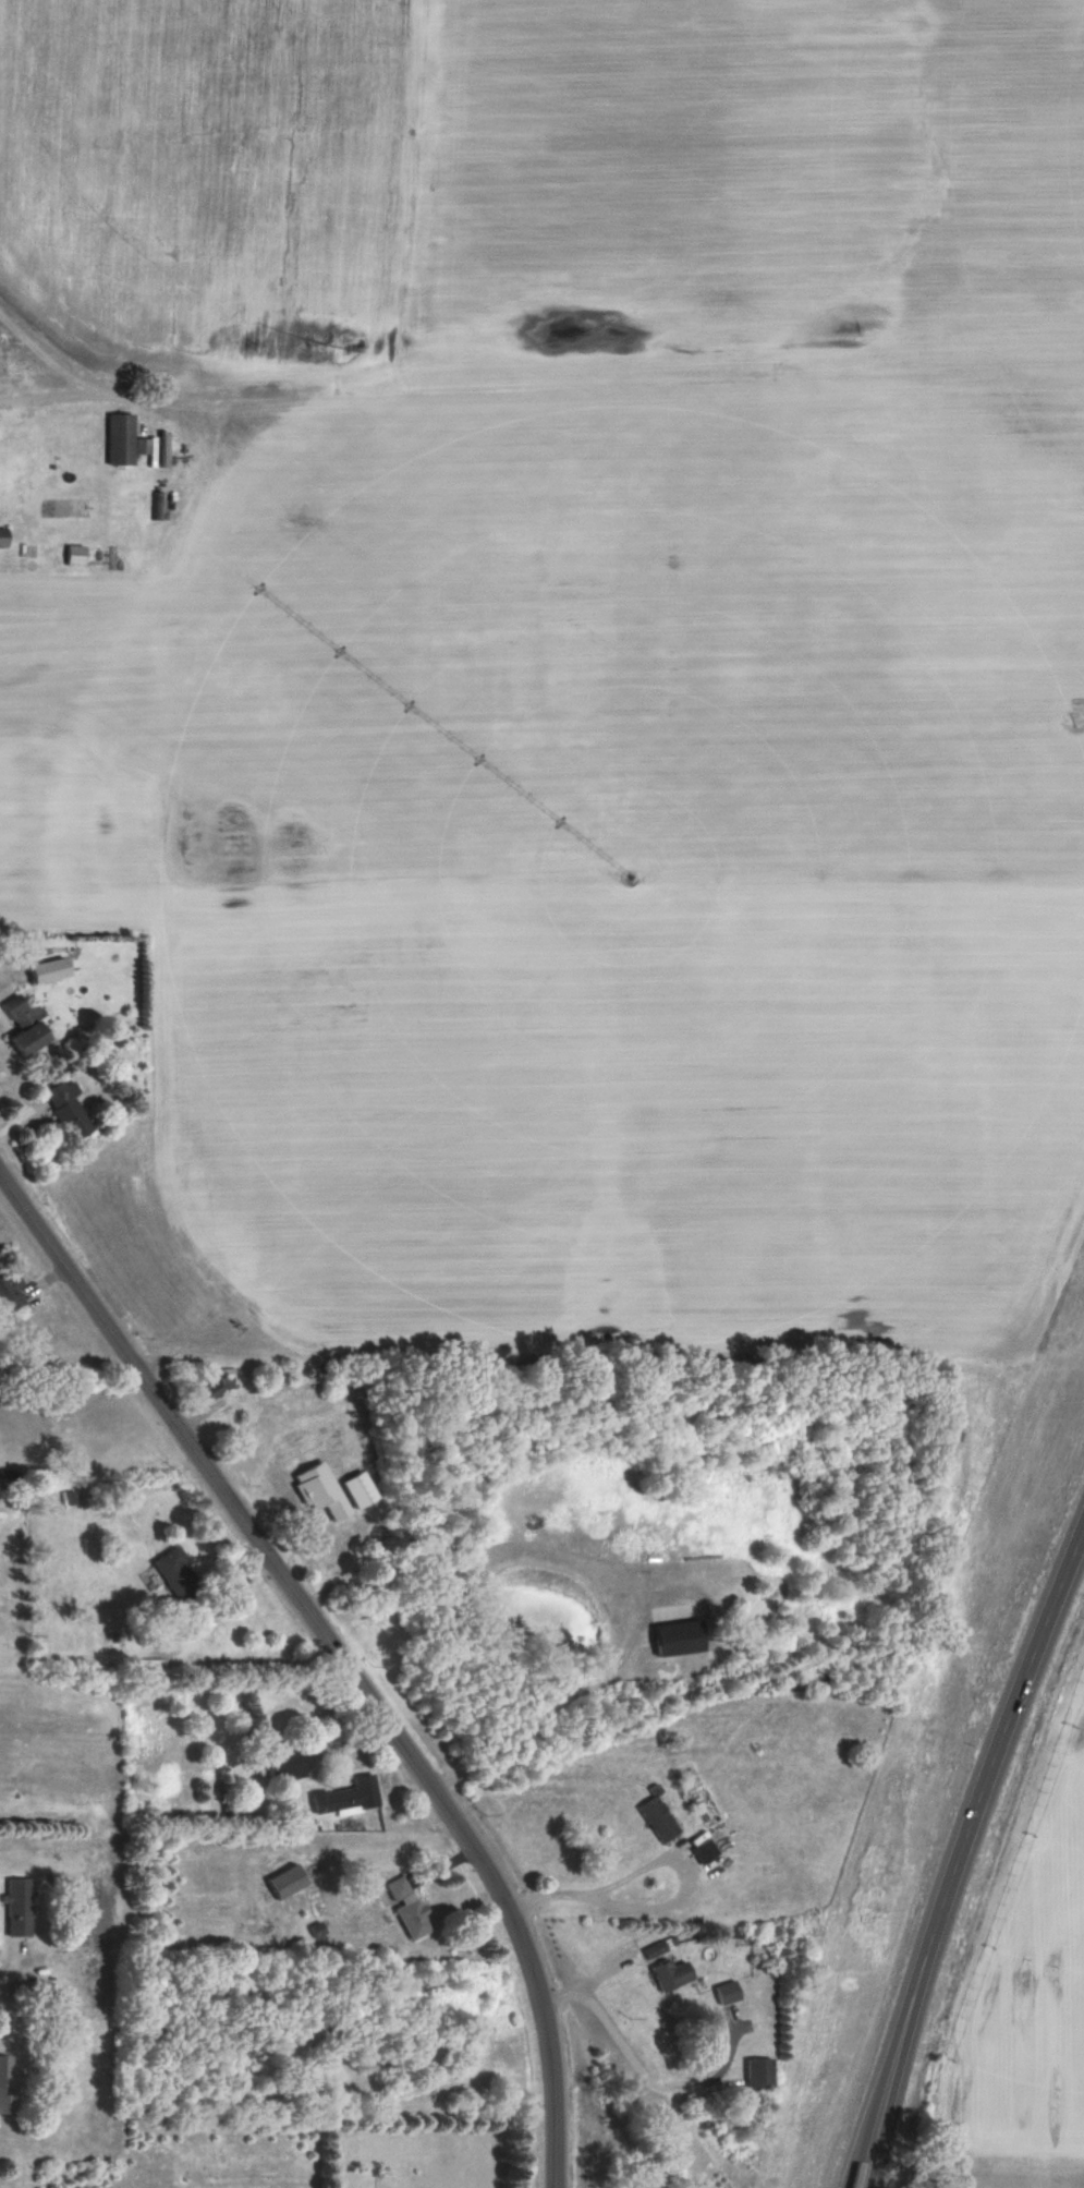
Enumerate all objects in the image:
crop: (551, 186)
road: (77, 384)
building: (121, 439)
building: (3, 537)
building: (88, 556)
crop: (605, 858)
building: (25, 1027)
building: (68, 1111)
building: (10, 1292)
building: (209, 1393)
building: (322, 1549)
building: (178, 1574)
building: (680, 1640)
road: (341, 1660)
road: (528, 1729)
building: (285, 1765)
building: (346, 1798)
building: (658, 1821)
building: (705, 1851)
road: (972, 1867)
building: (287, 1882)
road: (668, 1902)
building: (17, 1907)
building: (407, 1907)
building: (655, 1950)
building: (671, 1975)
road: (641, 2074)
building: (759, 2075)
building: (4, 2083)

